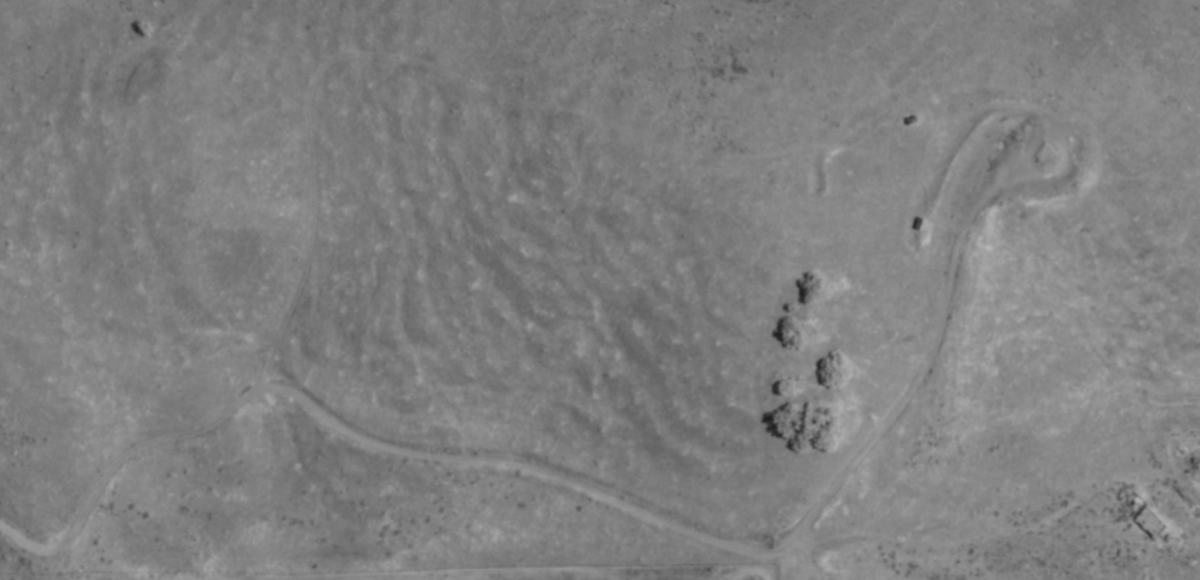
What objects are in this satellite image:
road: (379, 435)
building: (1149, 523)

